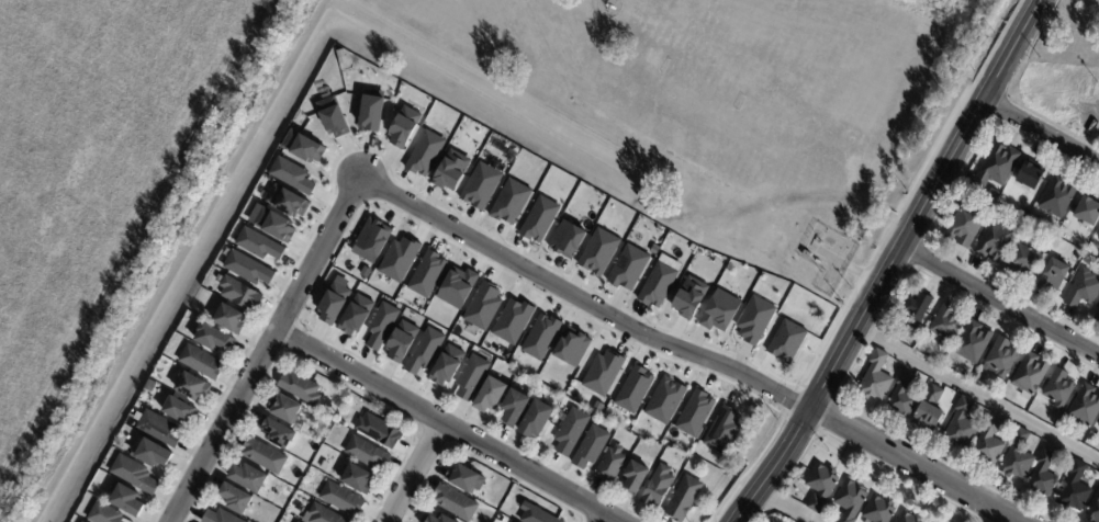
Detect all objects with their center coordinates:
building: (371, 111)
building: (333, 116)
road: (740, 121)
building: (403, 127)
road: (1042, 130)
building: (302, 146)
building: (425, 154)
building: (994, 168)
building: (451, 170)
building: (291, 174)
building: (1030, 175)
building: (481, 185)
building: (993, 194)
building: (1057, 196)
building: (287, 201)
building: (511, 202)
building: (1087, 211)
building: (1024, 212)
building: (539, 219)
building: (1031, 219)
building: (273, 225)
building: (965, 227)
building: (1091, 235)
building: (373, 237)
building: (1098, 238)
building: (567, 239)
building: (994, 241)
building: (1096, 243)
building: (258, 245)
building: (598, 251)
building: (807, 256)
building: (399, 259)
building: (1023, 259)
road: (893, 262)
building: (247, 268)
building: (628, 268)
building: (426, 273)
building: (1053, 276)
building: (658, 284)
building: (457, 287)
building: (1083, 290)
building: (239, 293)
building: (689, 297)
building: (334, 303)
road: (1000, 303)
building: (482, 306)
building: (719, 310)
building: (916, 311)
building: (356, 315)
building: (1097, 316)
building: (229, 318)
building: (754, 319)
building: (513, 320)
building: (381, 325)
building: (945, 327)
building: (213, 337)
building: (540, 337)
building: (786, 340)
building: (401, 341)
building: (973, 342)
building: (572, 347)
road: (263, 350)
road: (682, 350)
building: (424, 351)
building: (1000, 358)
building: (200, 362)
building: (447, 365)
building: (602, 373)
building: (1030, 375)
building: (470, 376)
building: (976, 377)
building: (875, 379)
solar farm: (182, 381)
building: (149, 385)
building: (191, 386)
building: (299, 387)
building: (633, 388)
building: (1058, 389)
solar farm: (187, 393)
building: (489, 395)
building: (901, 396)
road: (977, 397)
building: (664, 400)
building: (597, 406)
building: (284, 407)
building: (513, 407)
building: (1085, 407)
building: (178, 409)
building: (928, 410)
building: (694, 412)
building: (535, 418)
road: (447, 425)
building: (961, 425)
building: (1098, 425)
building: (158, 428)
building: (379, 429)
building: (724, 430)
building: (570, 431)
building: (277, 432)
building: (988, 443)
building: (590, 447)
building: (365, 451)
building: (153, 454)
building: (265, 454)
building: (1017, 457)
building: (610, 464)
road: (417, 473)
building: (134, 474)
building: (1042, 475)
building: (249, 477)
building: (635, 477)
building: (357, 478)
building: (464, 478)
building: (657, 487)
building: (820, 487)
building: (1074, 489)
building: (235, 497)
building: (340, 498)
building: (126, 499)
building: (683, 499)
building: (850, 500)
building: (452, 503)
road: (785, 507)
building: (1094, 509)
building: (878, 511)
building: (103, 513)
building: (324, 514)
building: (536, 514)
building: (218, 517)
road: (603, 518)
building: (908, 518)
building: (434, 519)
building: (81, 521)
building: (298, 521)

